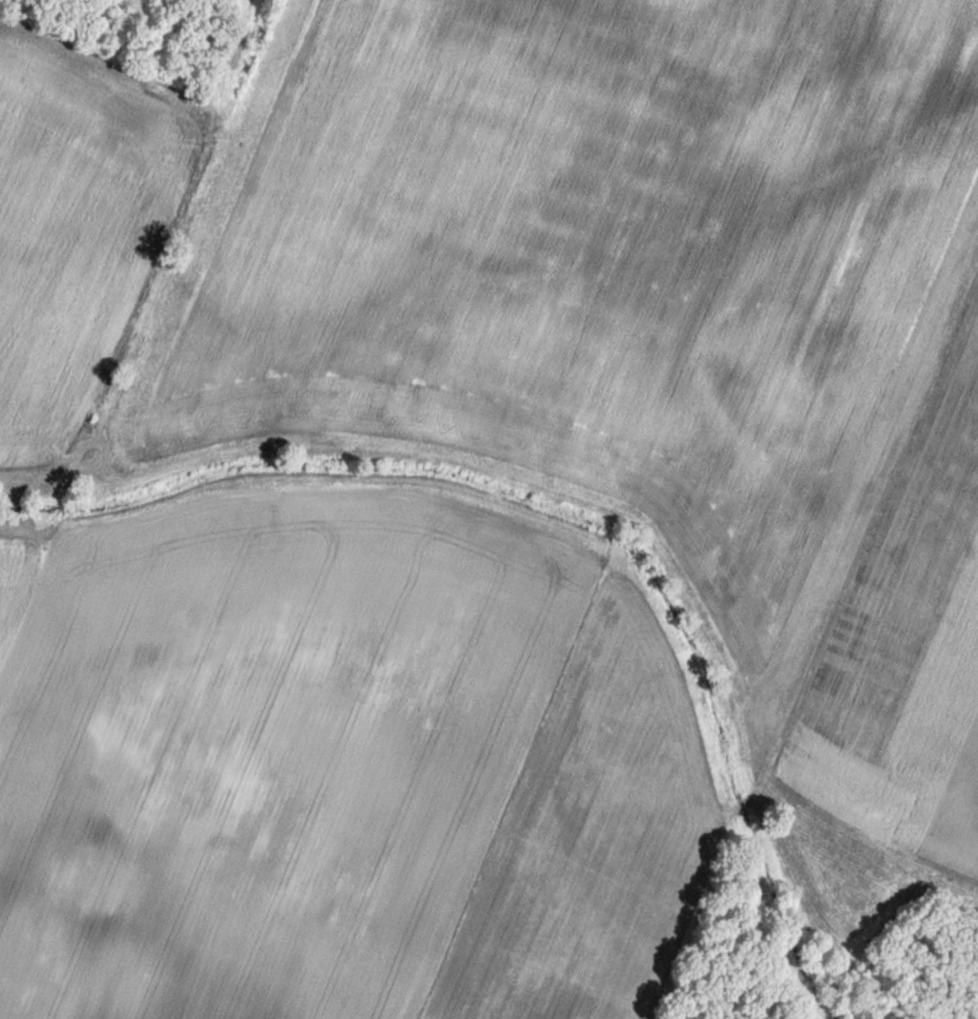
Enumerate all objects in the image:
crop: (77, 212)
crop: (637, 311)
crop: (355, 779)

